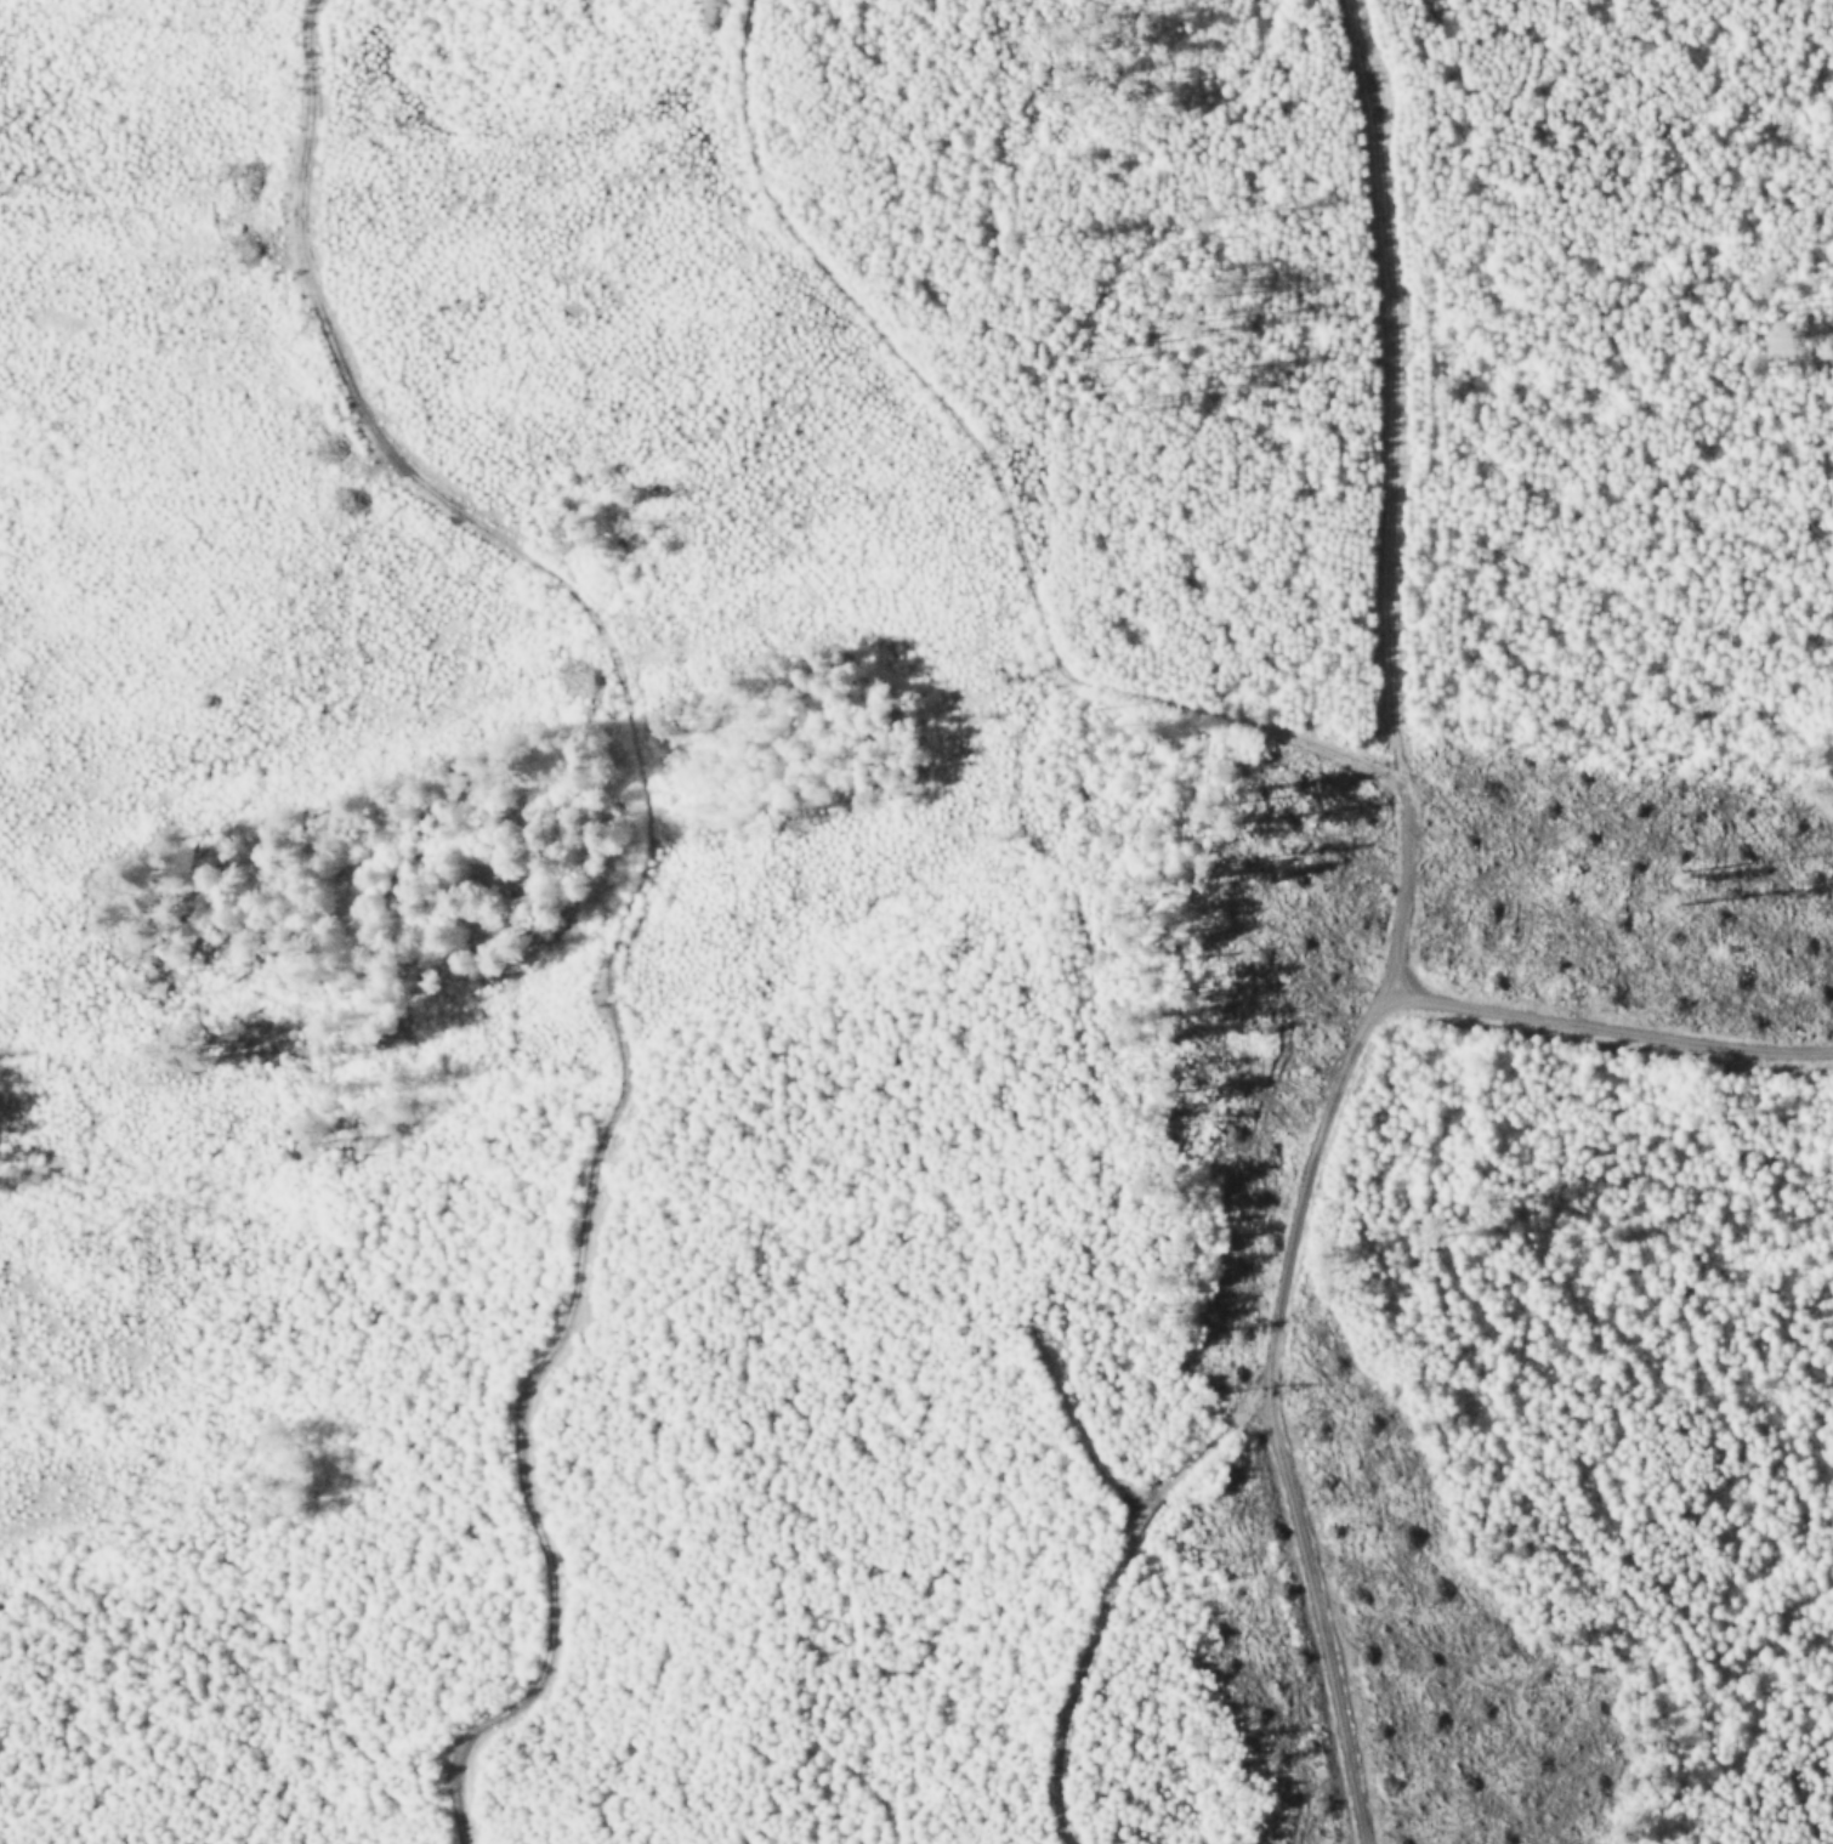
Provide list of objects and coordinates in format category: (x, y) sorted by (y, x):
road: (1421, 505)
road: (1428, 1237)

